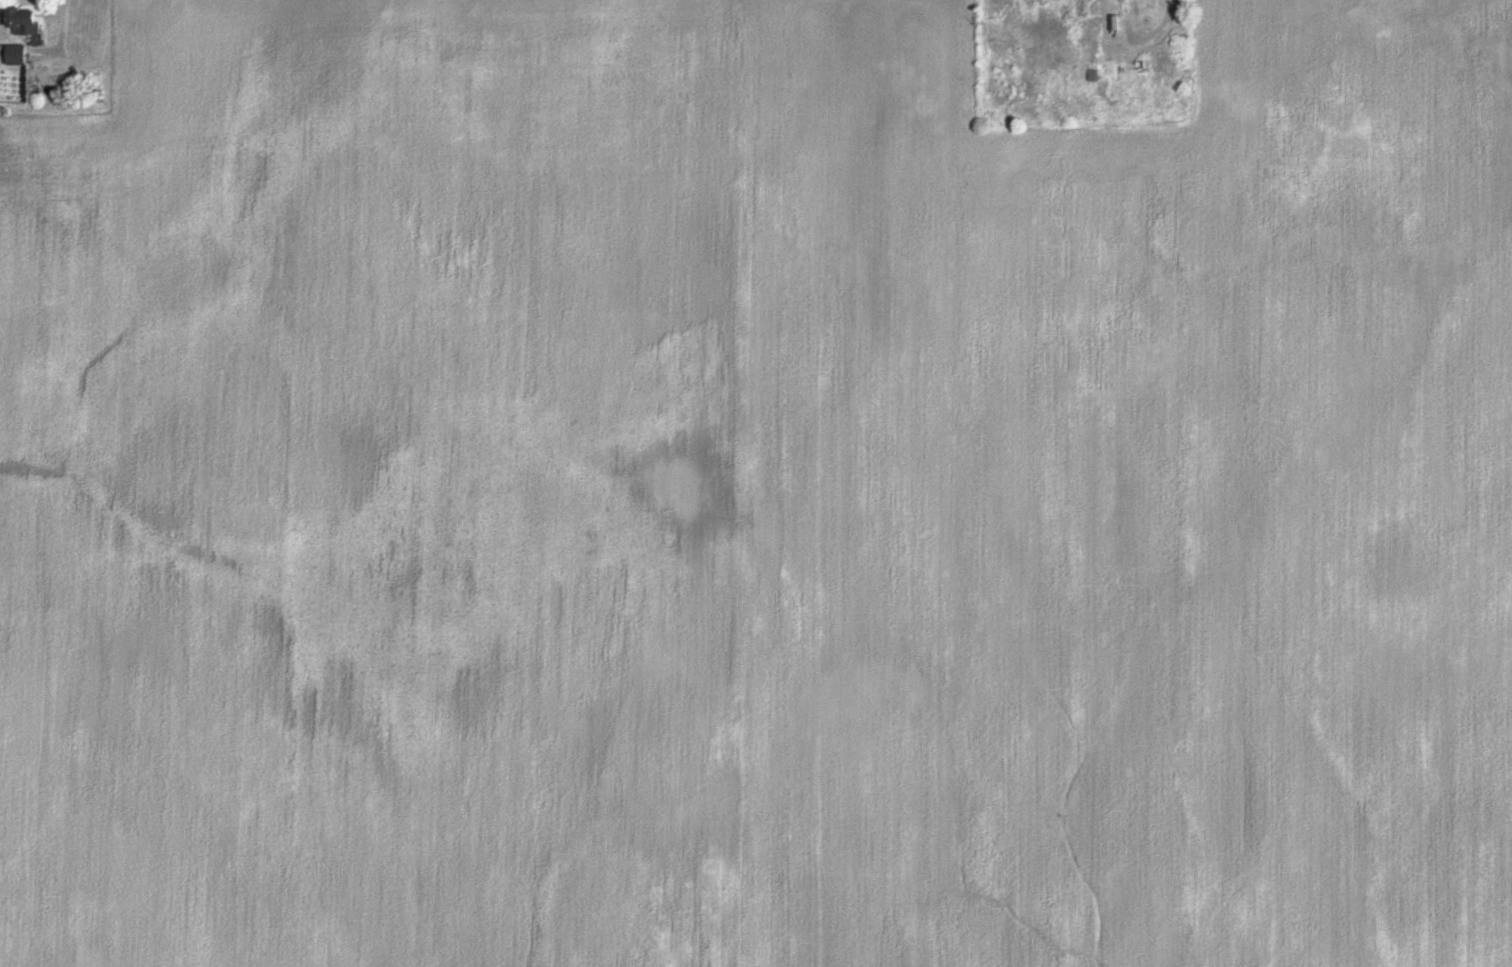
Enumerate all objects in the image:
building: (26, 24)
crop: (374, 491)
crop: (1126, 499)

